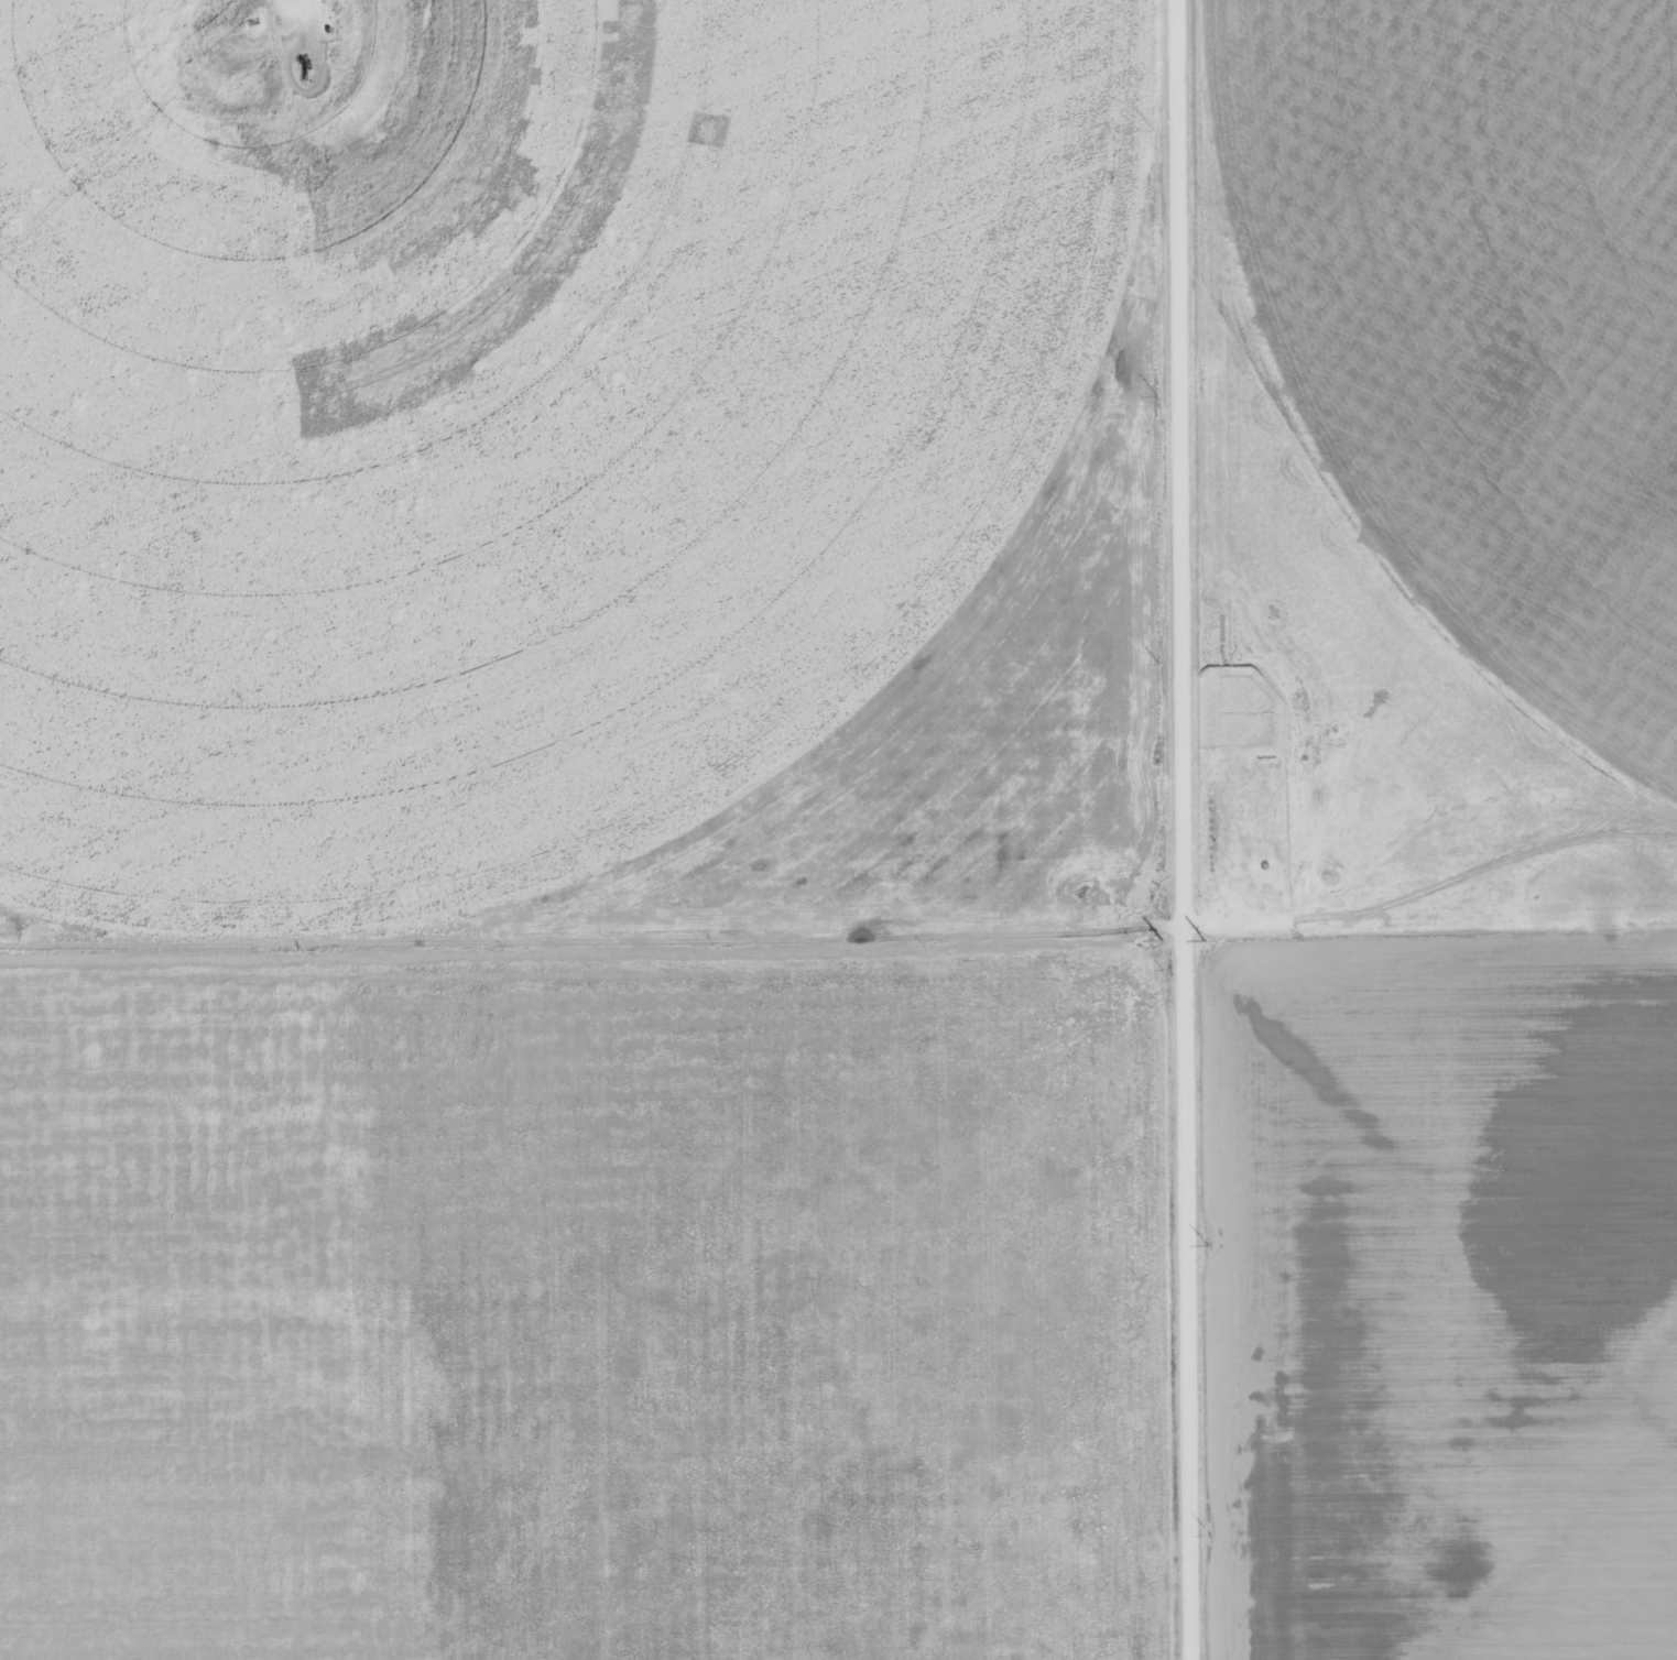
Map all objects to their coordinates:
road: (1185, 830)

